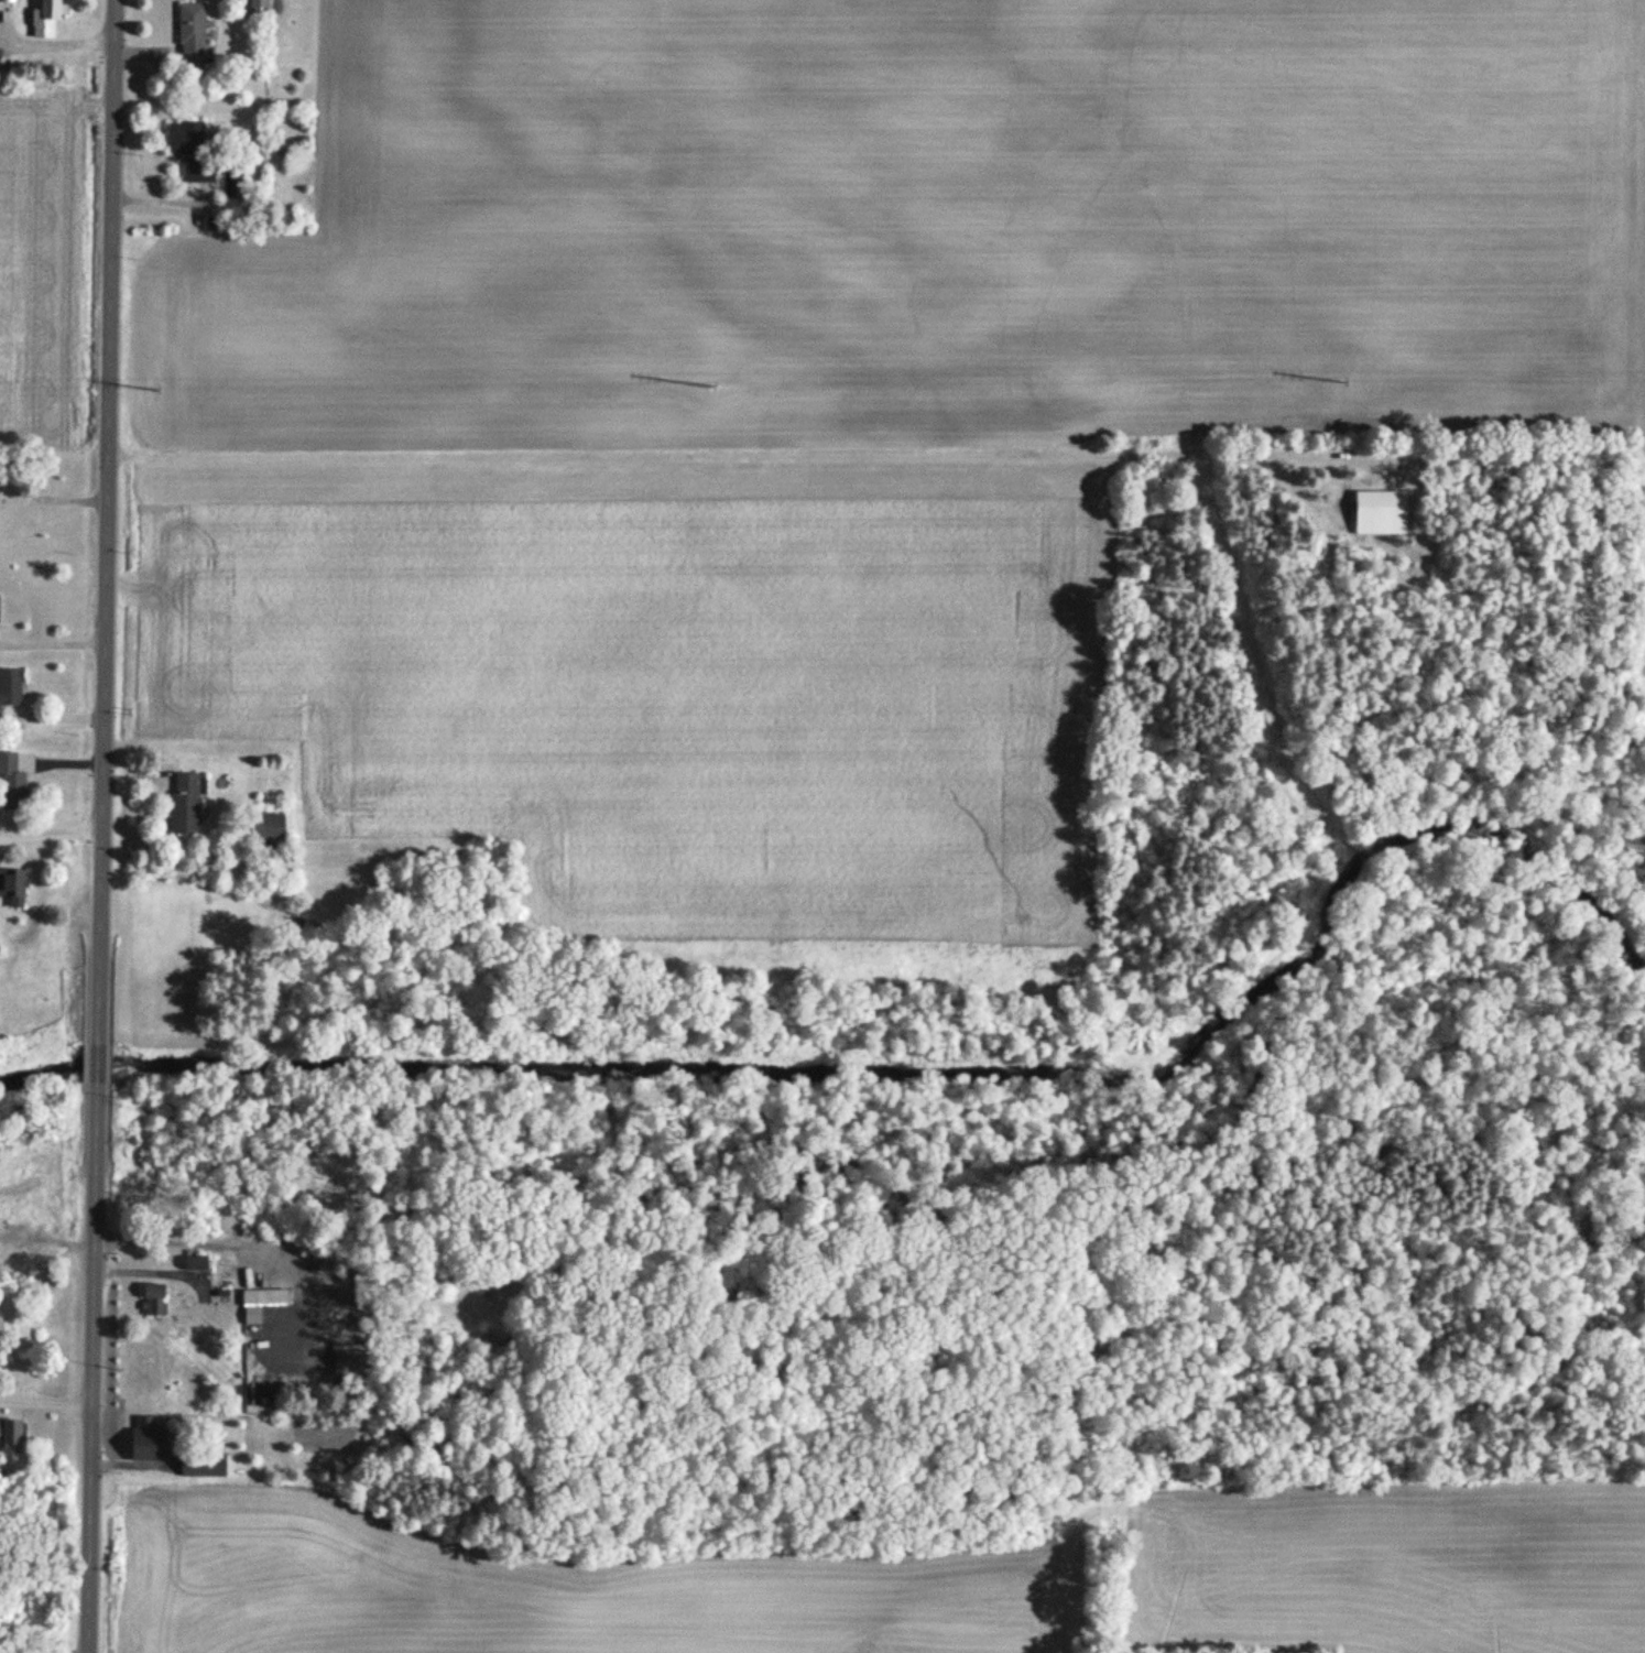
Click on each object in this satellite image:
building: (9, 1)
building: (257, 7)
building: (43, 20)
building: (189, 34)
road: (52, 44)
building: (184, 138)
building: (197, 172)
building: (277, 217)
power tower: (1340, 384)
power tower: (712, 389)
power tower: (155, 394)
building: (1379, 513)
building: (10, 688)
building: (10, 781)
building: (183, 804)
road: (107, 826)
building: (263, 829)
road: (53, 833)
building: (12, 889)
building: (193, 1263)
building: (151, 1299)
building: (6, 1309)
building: (9, 1436)
building: (144, 1442)
building: (200, 1466)

